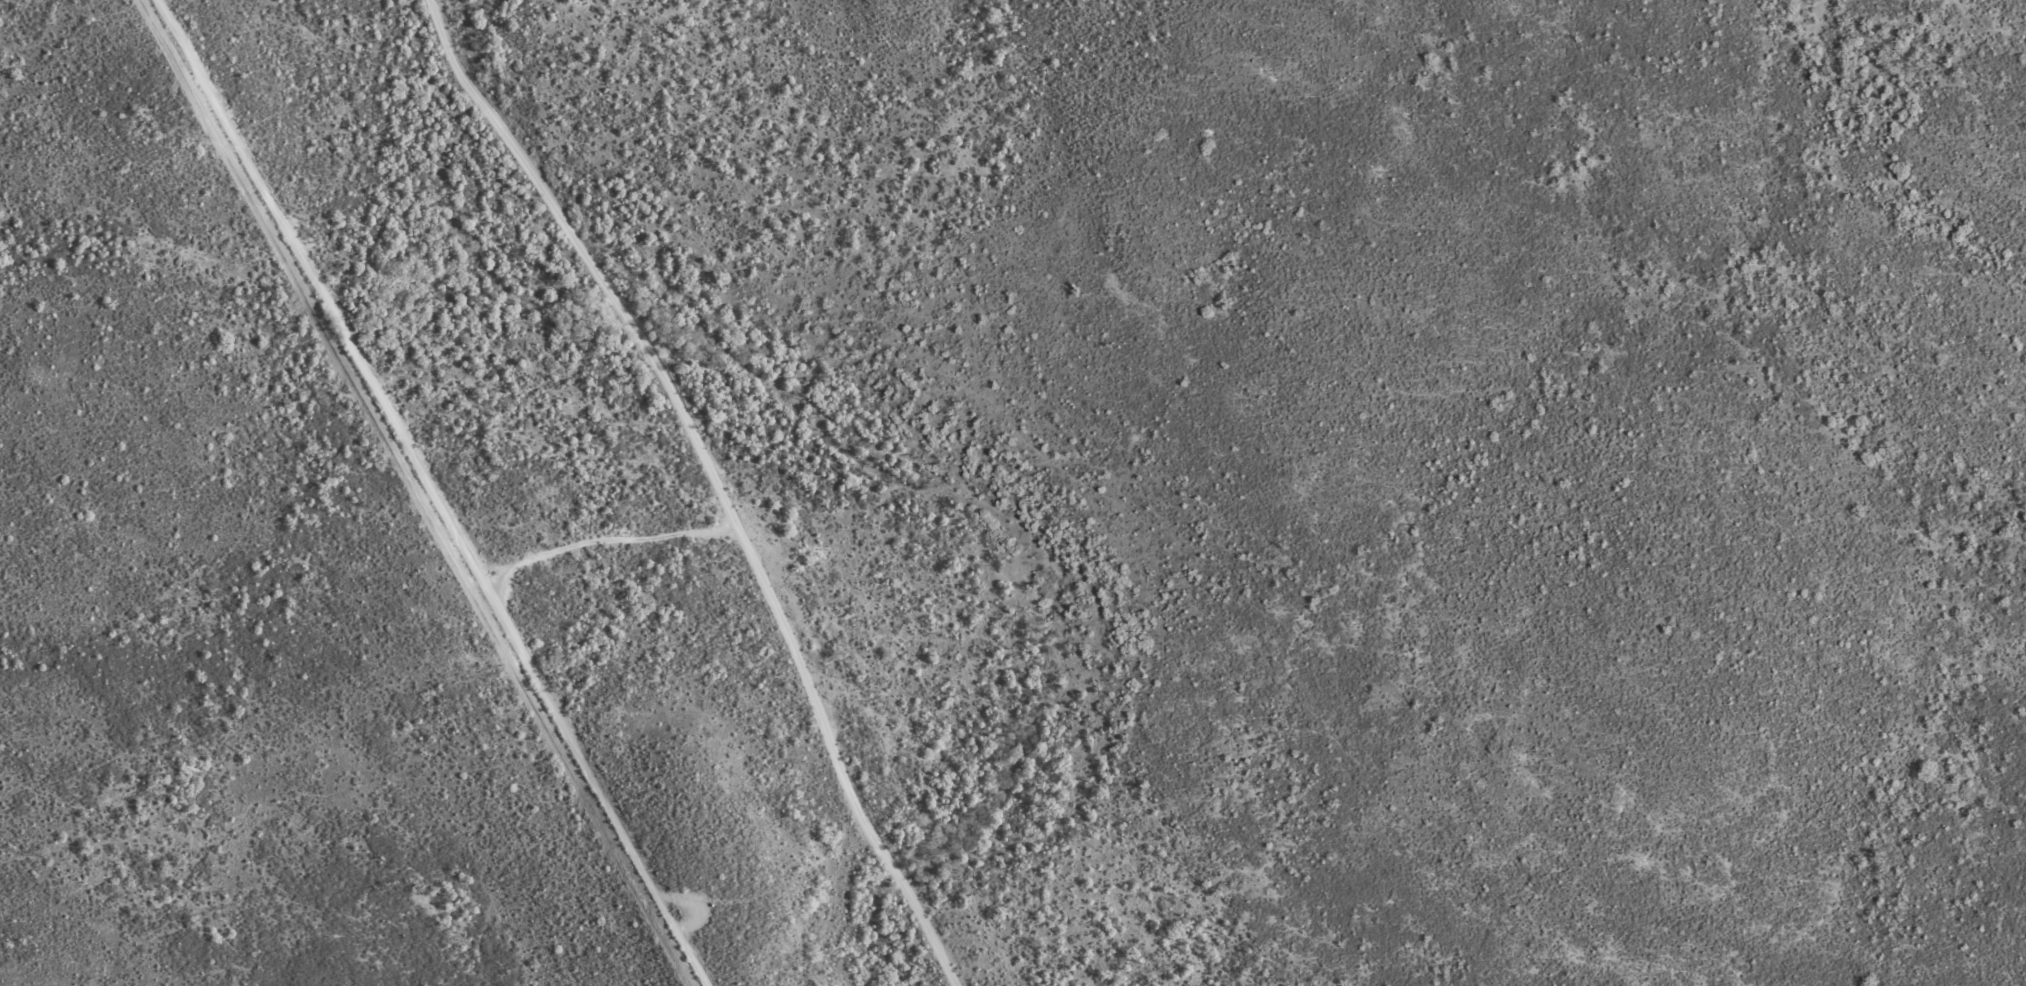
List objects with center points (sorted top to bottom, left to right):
road: (721, 481)

